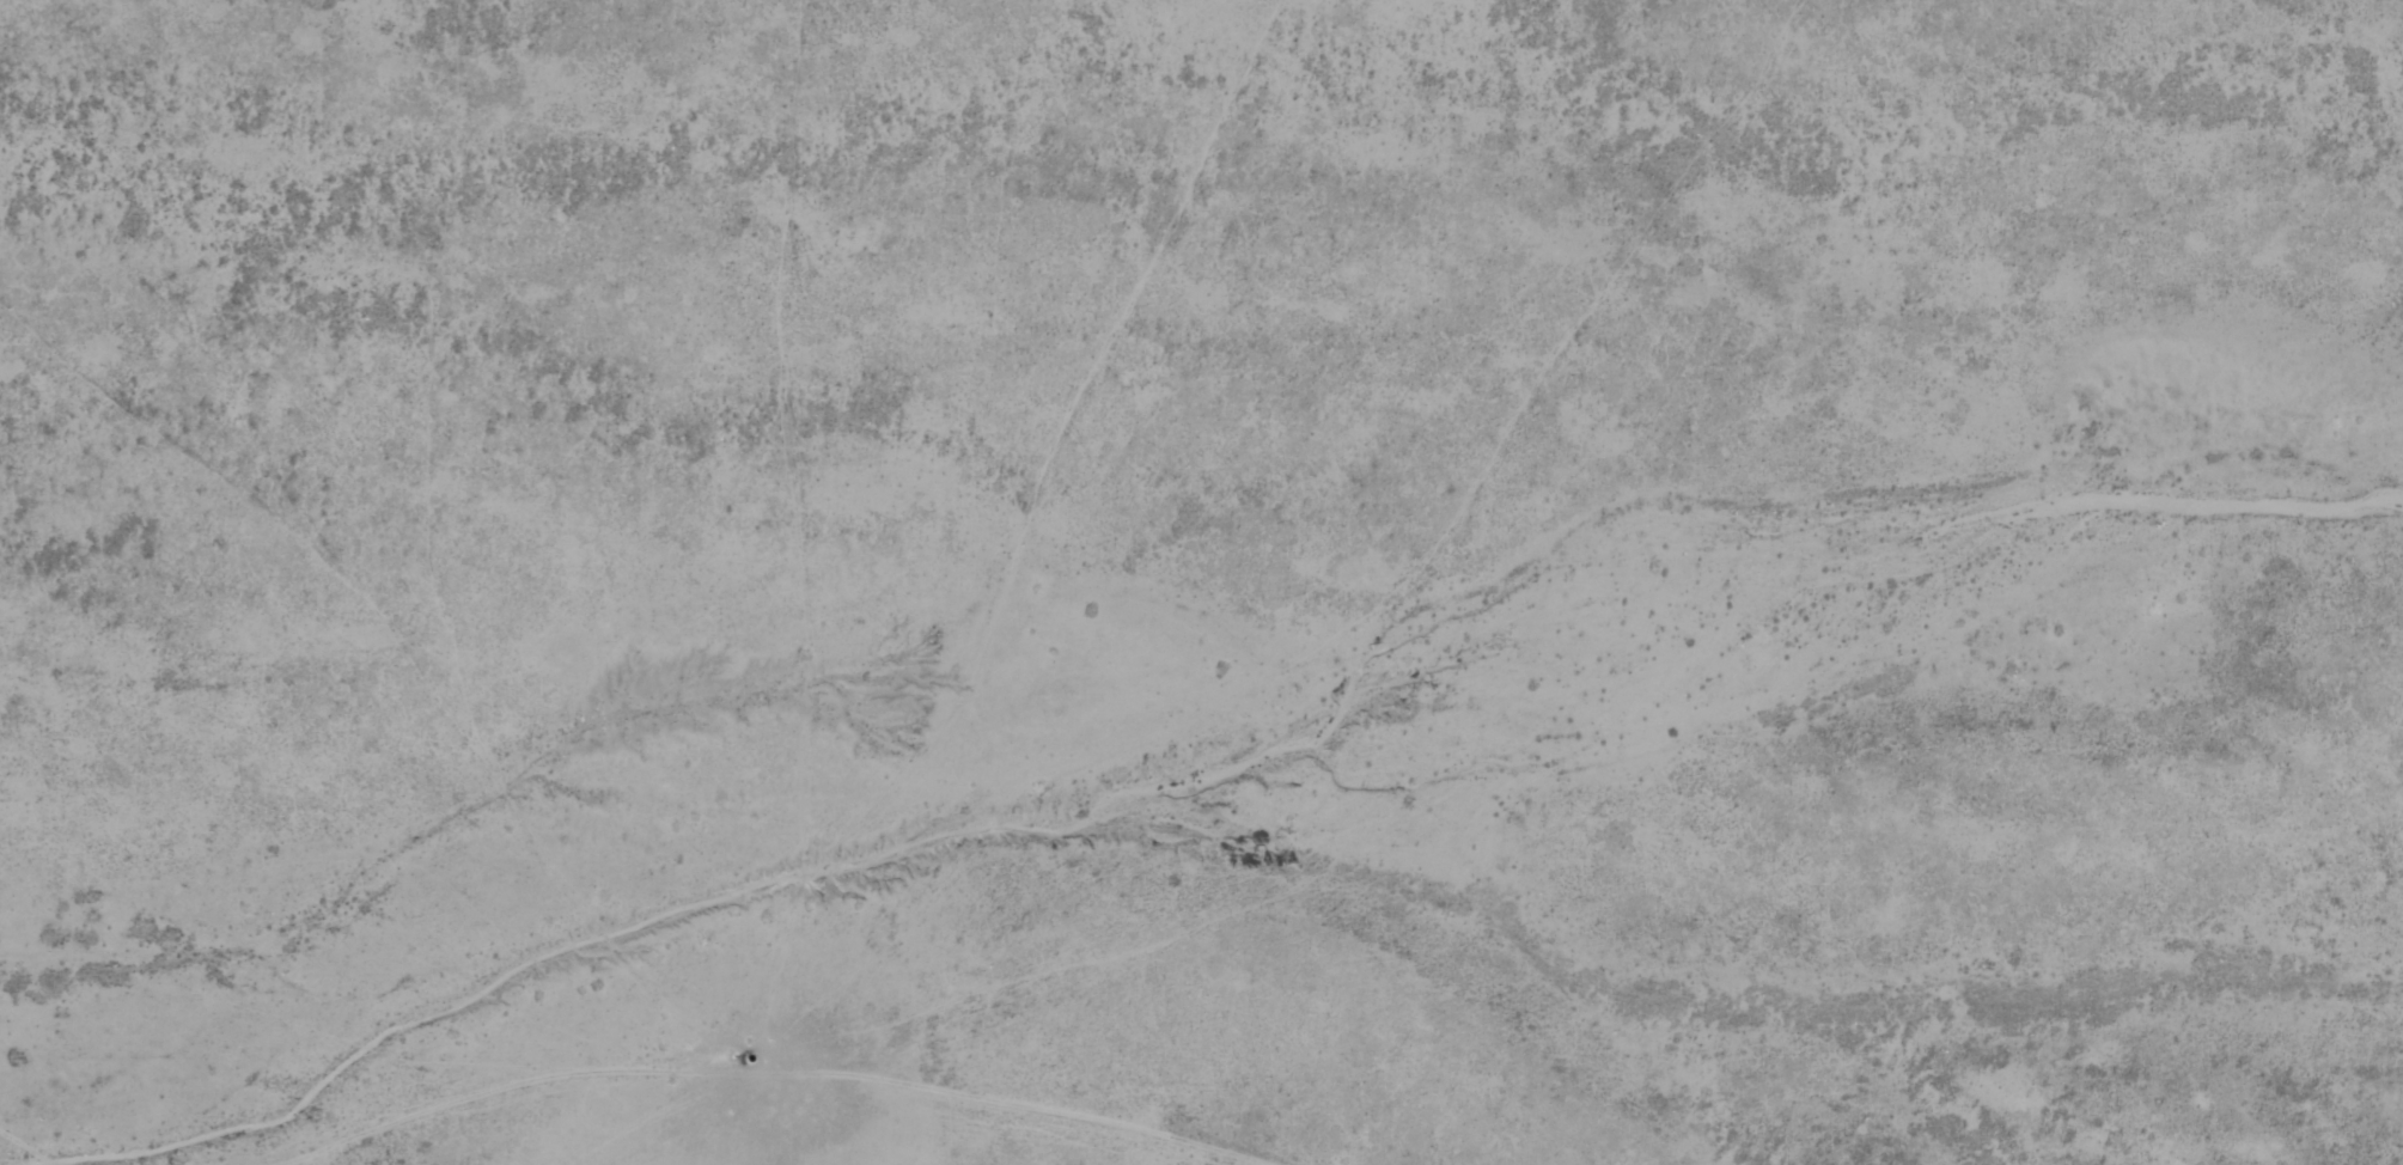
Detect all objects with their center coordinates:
building: (751, 1056)
storage tank: (751, 1056)

